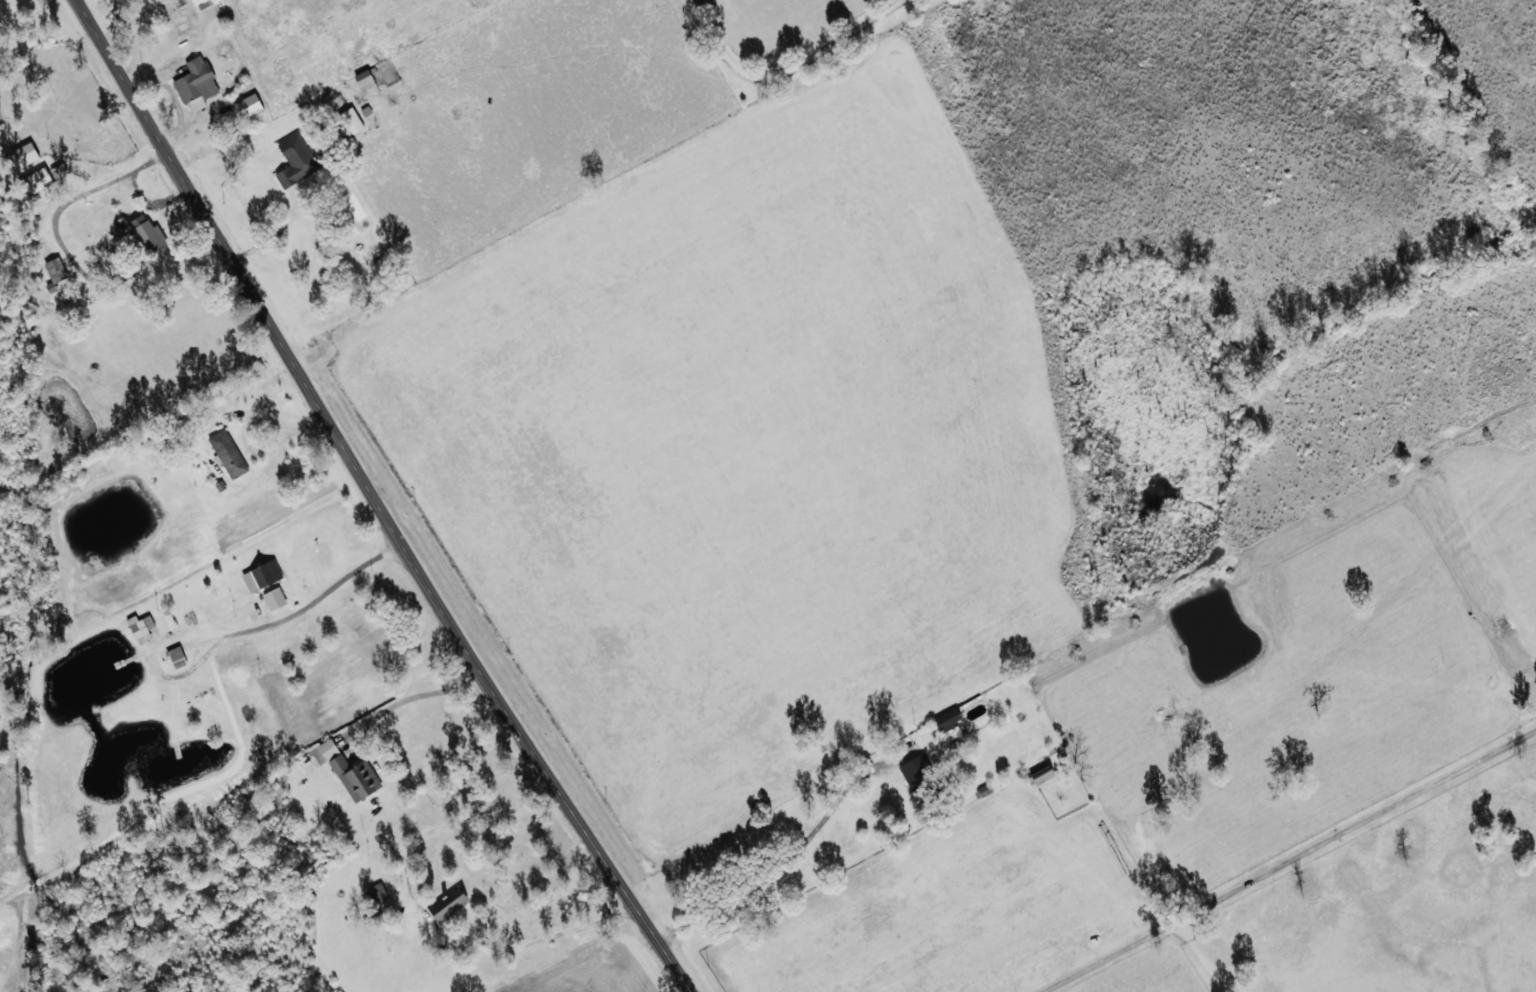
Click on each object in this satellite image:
building: (207, 8)
road: (1018, 55)
building: (363, 79)
building: (195, 83)
building: (247, 105)
building: (364, 111)
building: (349, 120)
building: (294, 160)
building: (56, 169)
building: (35, 180)
building: (145, 234)
building: (54, 269)
building: (227, 453)
road: (374, 499)
building: (261, 575)
building: (273, 598)
building: (167, 620)
building: (139, 626)
building: (947, 718)
building: (915, 768)
building: (348, 771)
building: (447, 903)

